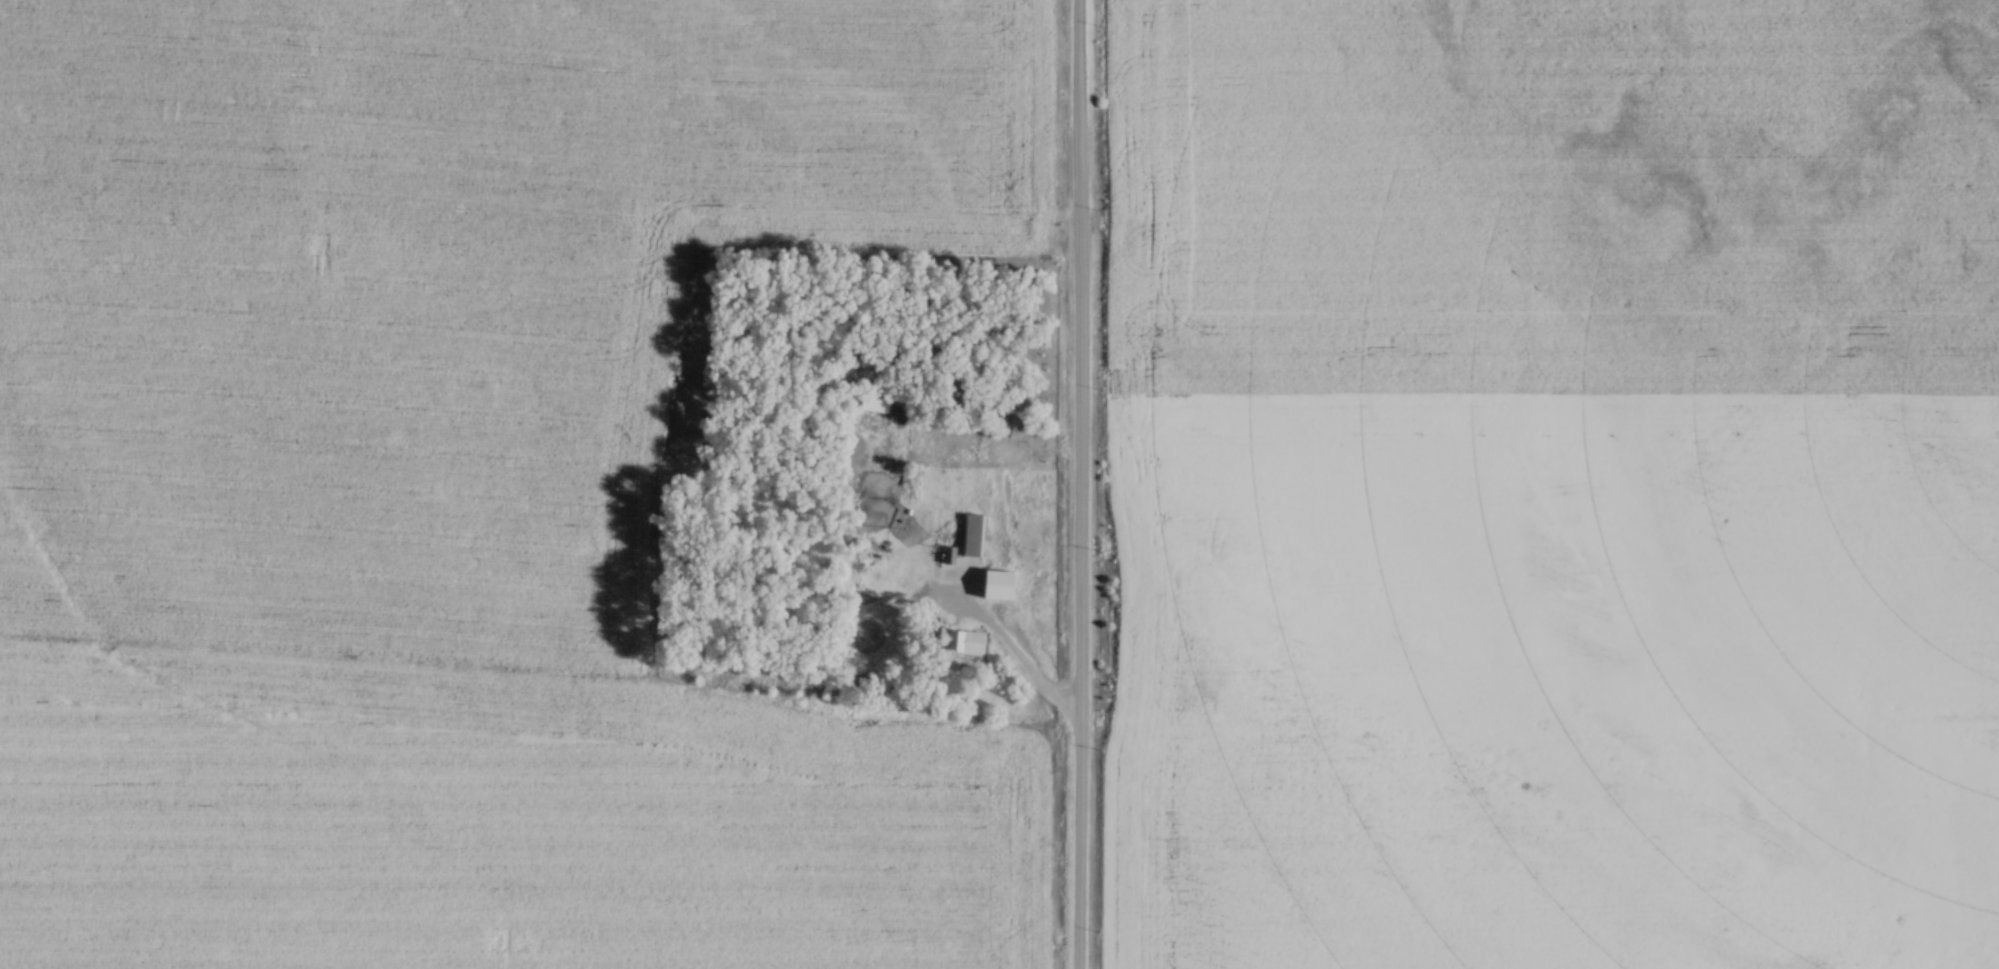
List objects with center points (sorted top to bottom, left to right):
road: (1003, 463)
road: (1081, 484)
building: (974, 533)
building: (947, 553)
building: (960, 640)
road: (1019, 661)

